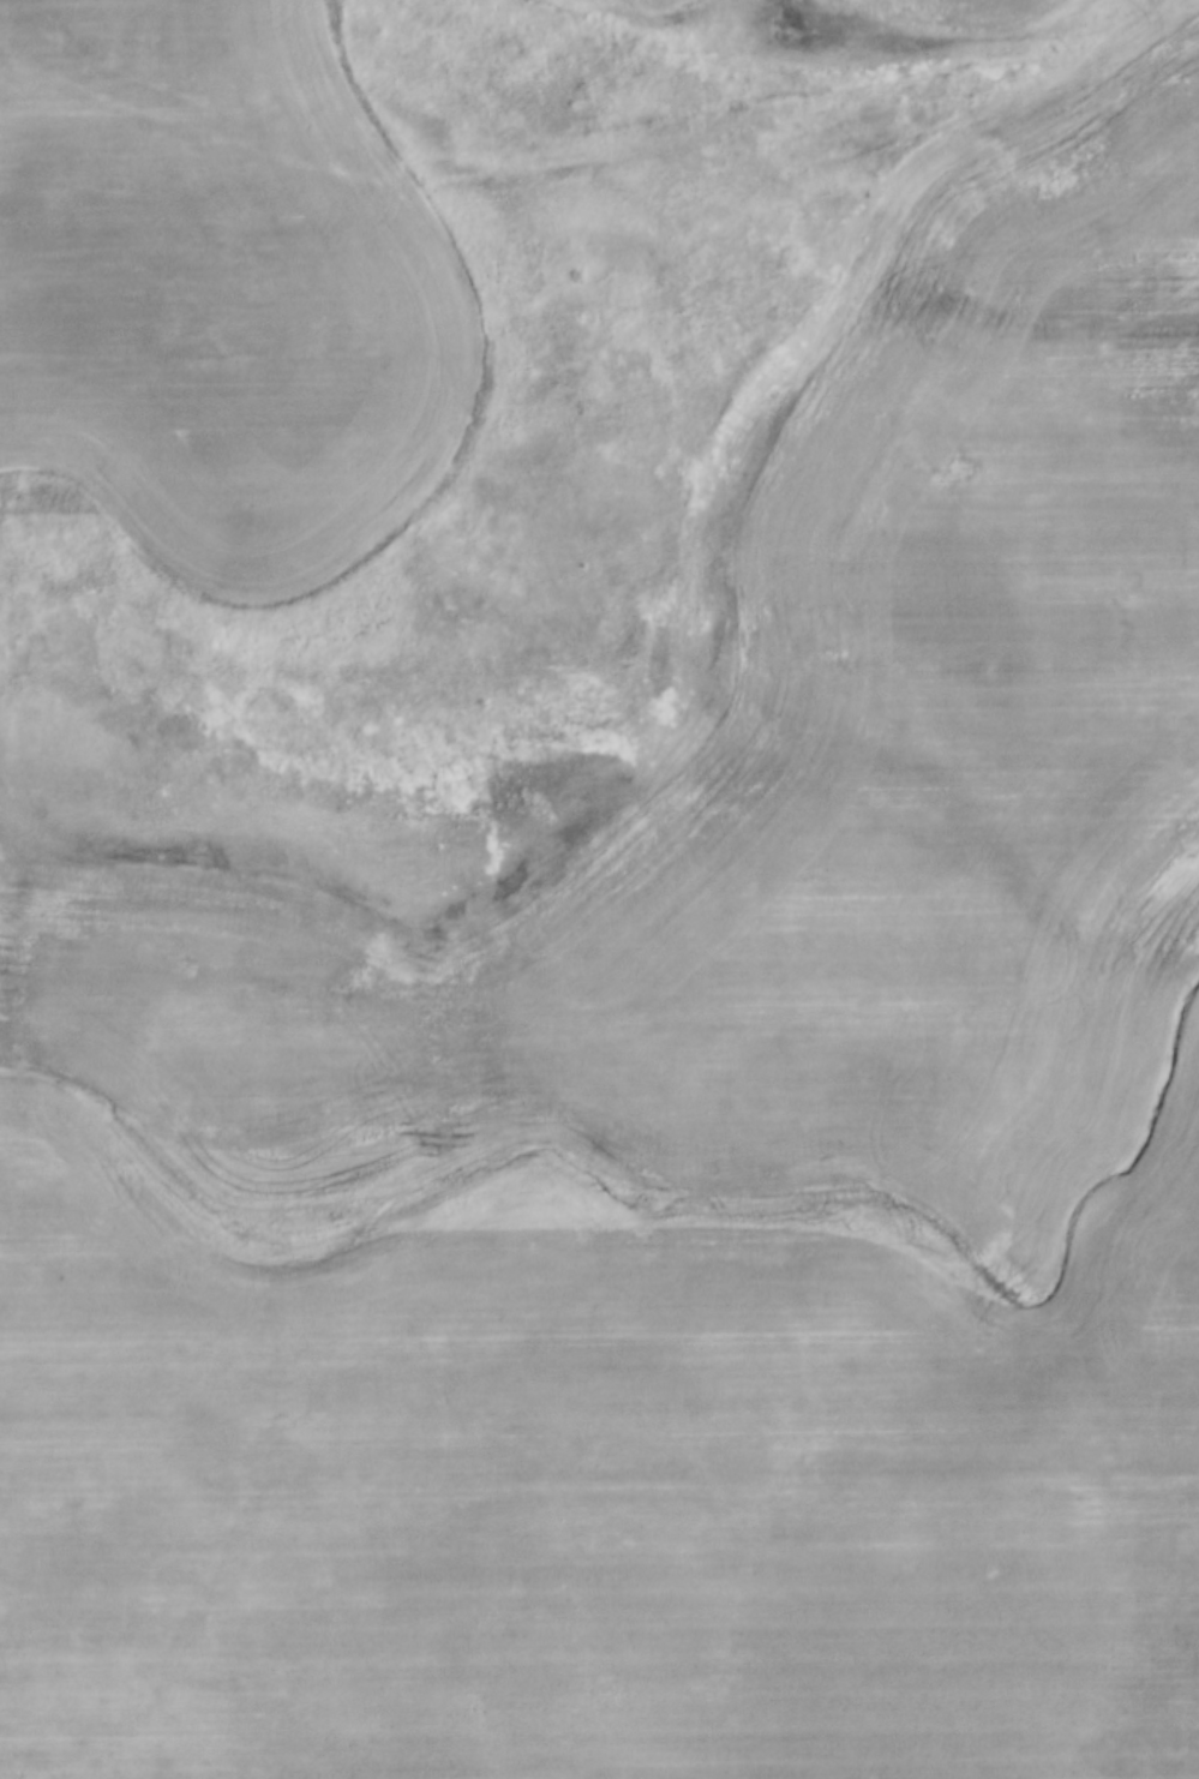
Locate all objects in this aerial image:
road: (599, 155)

